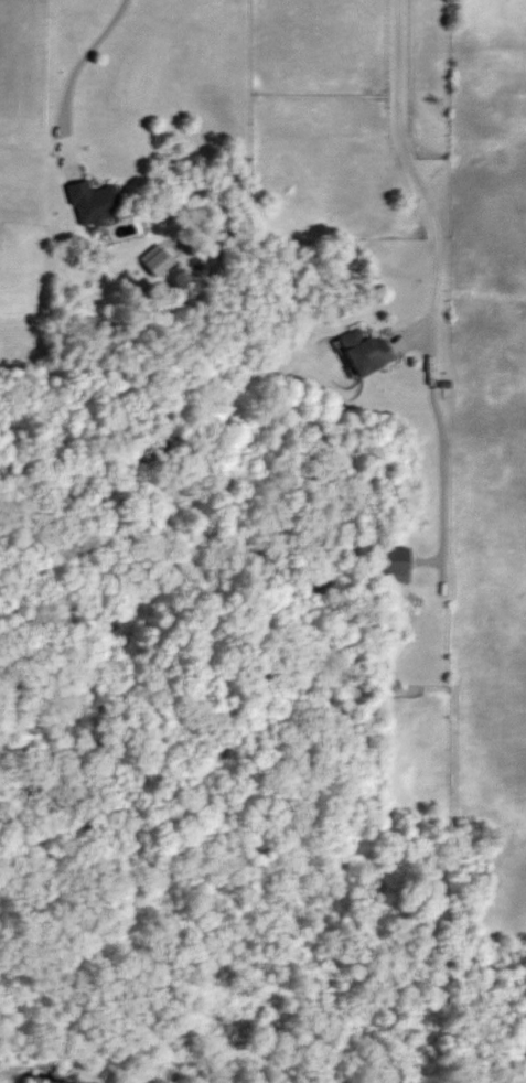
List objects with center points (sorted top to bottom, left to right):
road: (73, 71)
road: (415, 173)
building: (95, 202)
building: (365, 351)
building: (391, 560)

